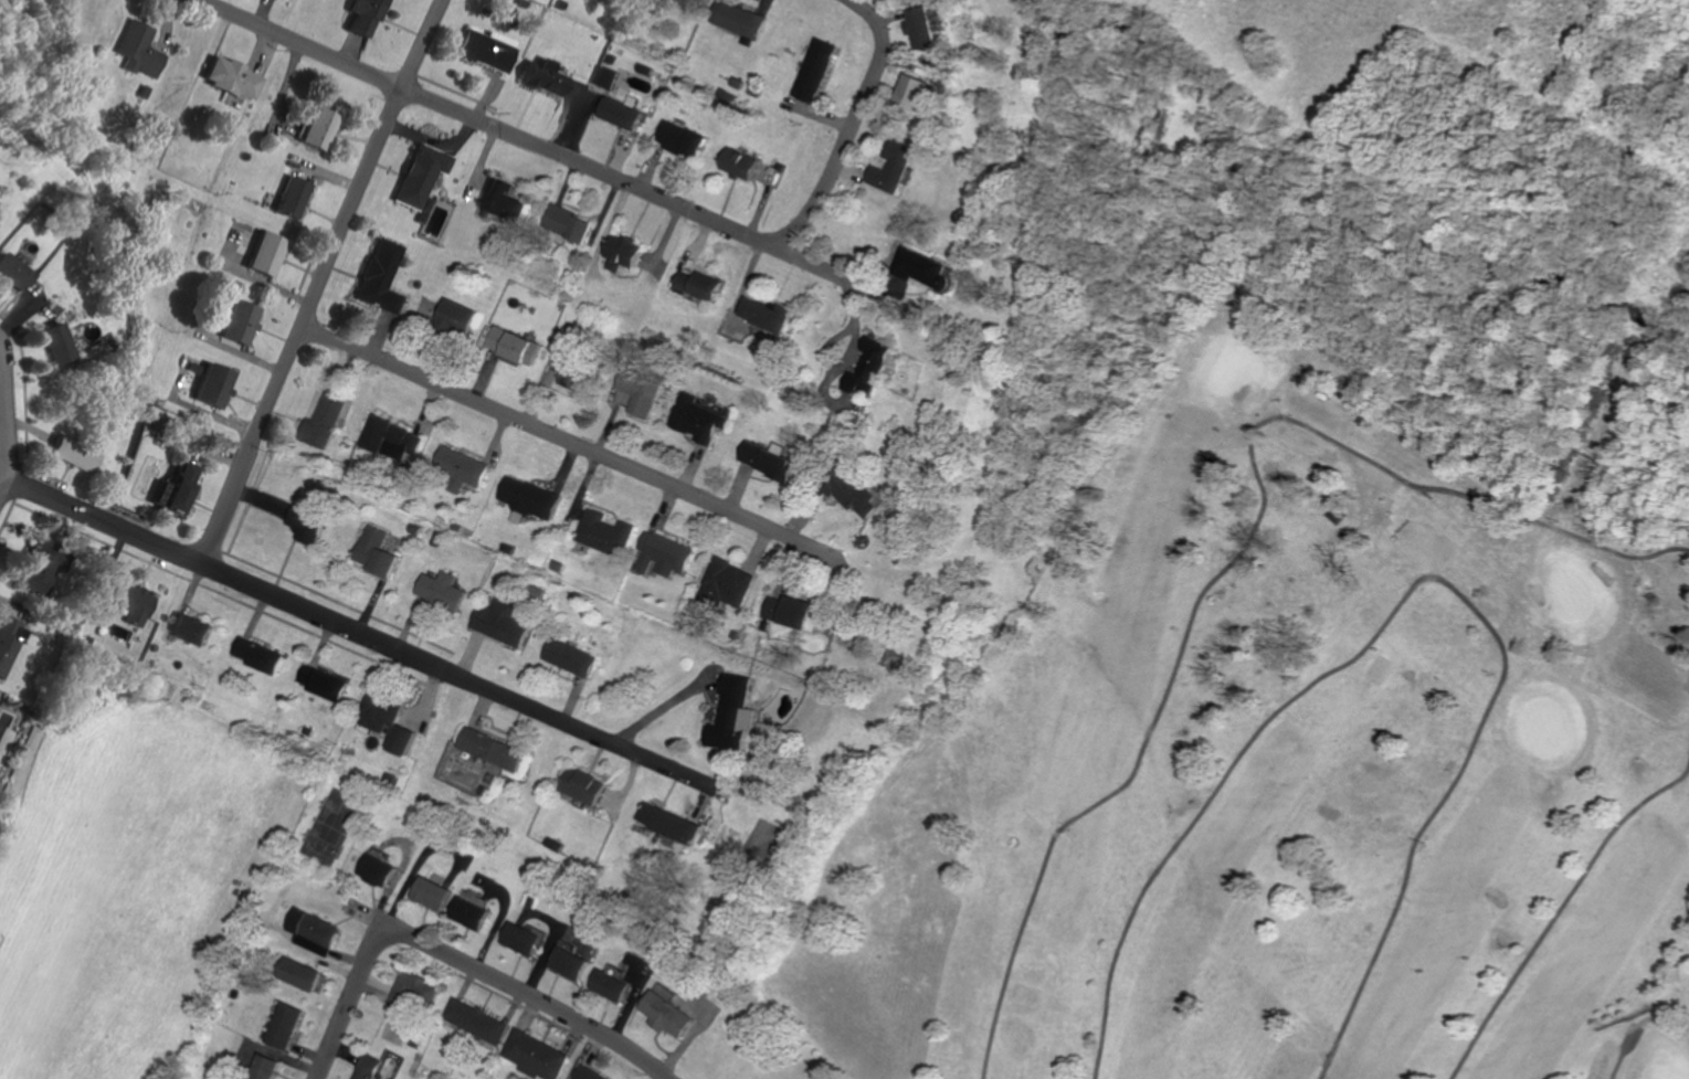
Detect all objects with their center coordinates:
building: (678, 3)
building: (366, 14)
building: (737, 20)
building: (923, 28)
road: (309, 43)
building: (134, 49)
building: (485, 49)
building: (815, 70)
building: (540, 76)
building: (603, 77)
building: (232, 78)
building: (914, 92)
building: (617, 112)
road: (851, 127)
building: (319, 128)
building: (678, 138)
road: (588, 162)
building: (738, 163)
building: (894, 167)
building: (422, 174)
building: (293, 197)
building: (500, 201)
building: (564, 223)
building: (621, 252)
building: (265, 254)
road: (820, 265)
building: (925, 267)
building: (9, 273)
building: (381, 276)
road: (326, 284)
building: (696, 284)
building: (763, 314)
building: (453, 317)
building: (237, 321)
building: (49, 342)
building: (510, 346)
building: (868, 368)
building: (212, 385)
building: (637, 394)
building: (695, 419)
road: (8, 420)
building: (318, 421)
building: (388, 438)
road: (569, 440)
building: (66, 454)
building: (766, 461)
building: (460, 468)
building: (175, 487)
building: (852, 494)
building: (528, 499)
building: (303, 523)
building: (604, 532)
building: (373, 551)
building: (663, 553)
building: (33, 568)
building: (728, 583)
building: (441, 590)
building: (128, 605)
building: (790, 611)
building: (500, 622)
building: (188, 627)
road: (355, 632)
building: (7, 641)
building: (257, 655)
building: (570, 657)
building: (323, 683)
road: (662, 705)
building: (379, 712)
building: (733, 715)
building: (400, 741)
building: (490, 749)
park: (1288, 755)
building: (583, 786)
building: (671, 823)
building: (377, 870)
building: (431, 893)
building: (471, 913)
building: (315, 928)
building: (521, 939)
building: (571, 963)
building: (299, 974)
building: (613, 985)
building: (415, 993)
road: (531, 997)
road: (352, 1002)
building: (669, 1014)
building: (476, 1020)
building: (284, 1026)
building: (537, 1056)
building: (264, 1067)
building: (368, 1067)
building: (592, 1073)

